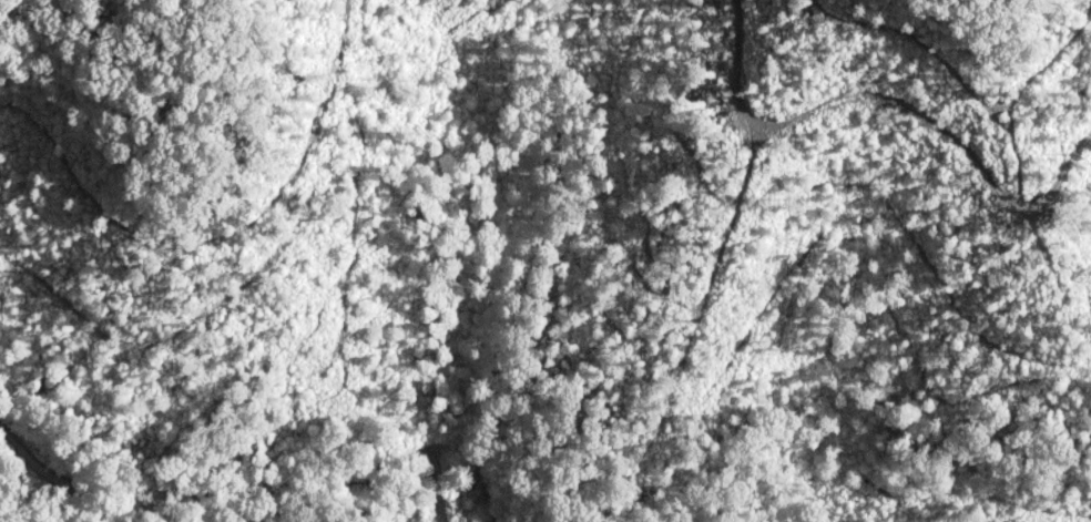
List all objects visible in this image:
road: (264, 485)

